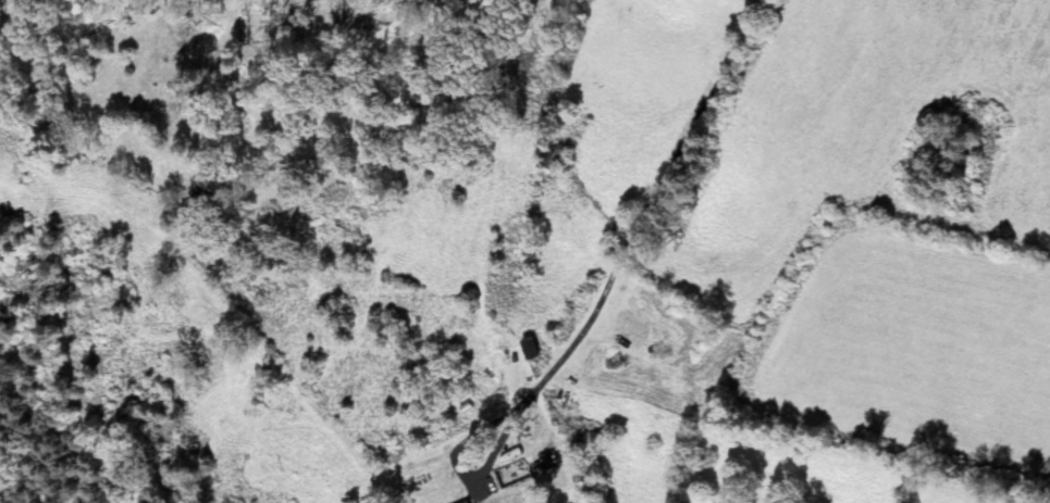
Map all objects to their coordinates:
building: (376, 22)
building: (554, 160)
road: (651, 200)
building: (526, 349)
road: (333, 425)
building: (502, 471)
building: (421, 485)

